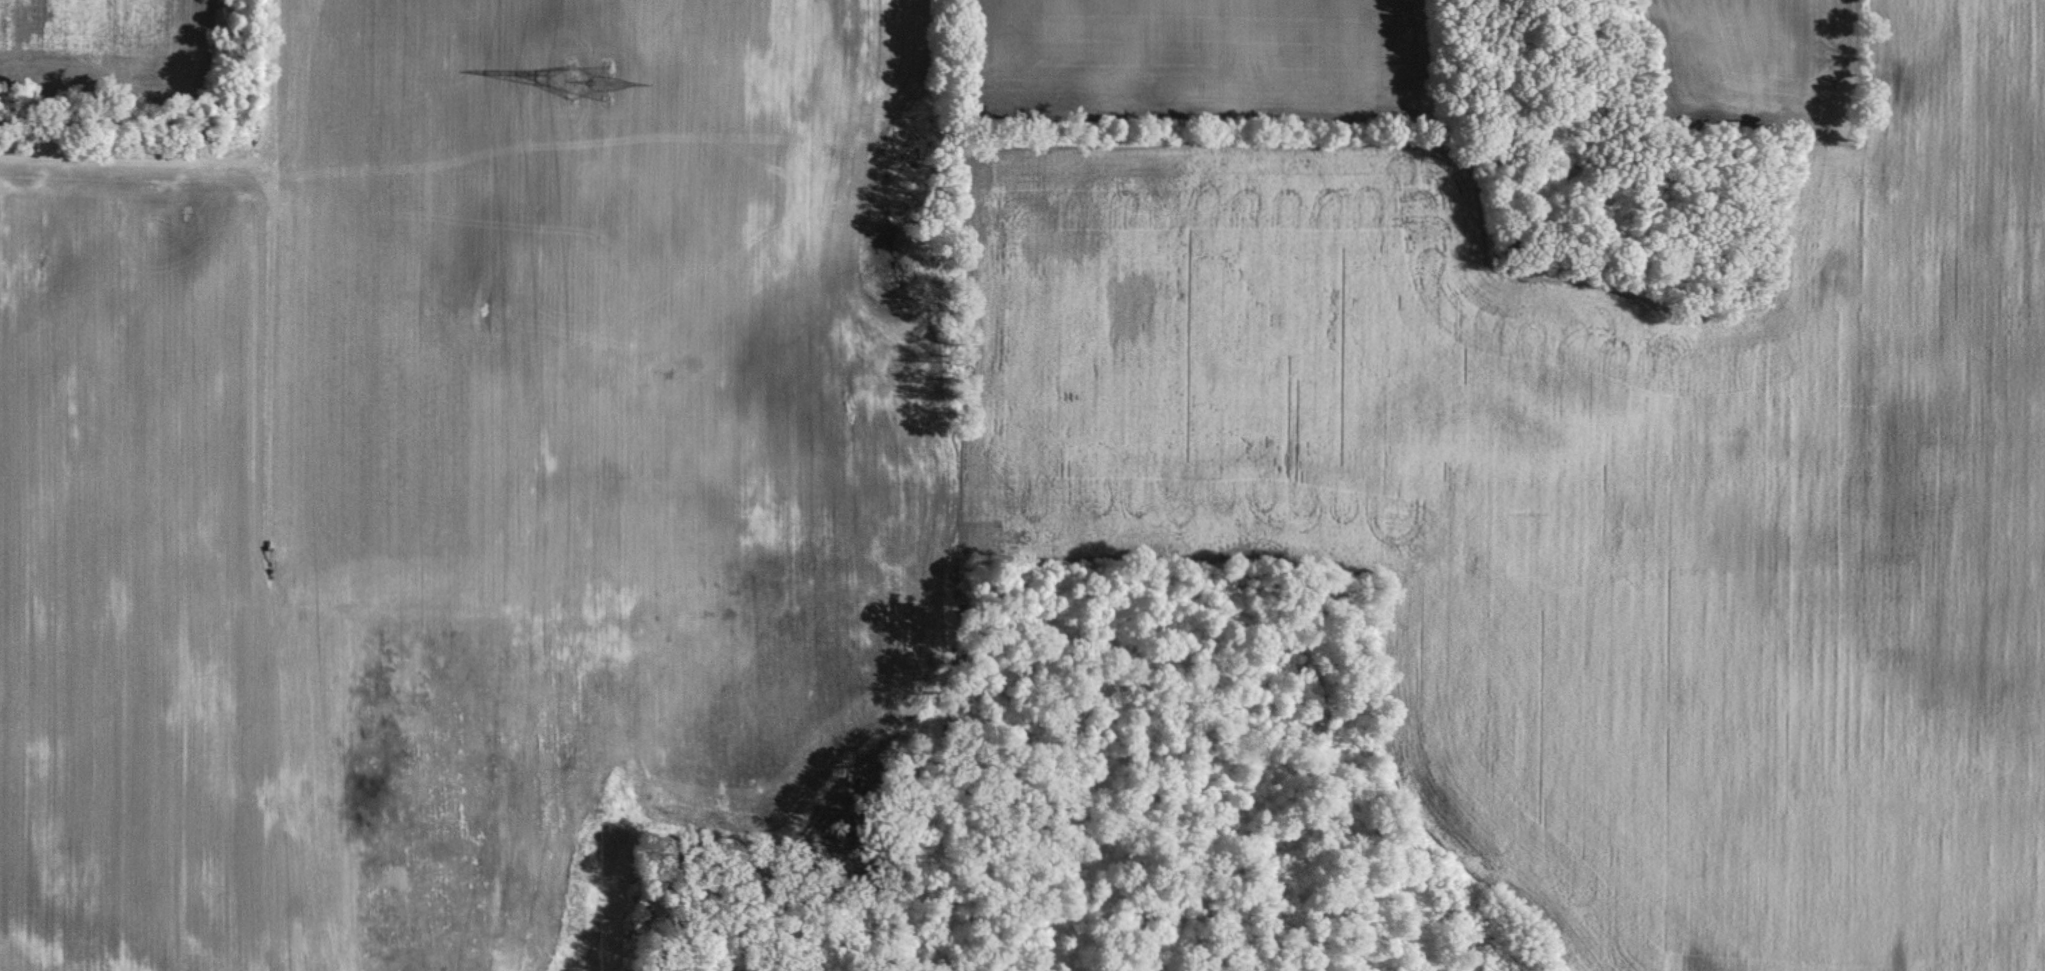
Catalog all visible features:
power tower: (591, 82)

